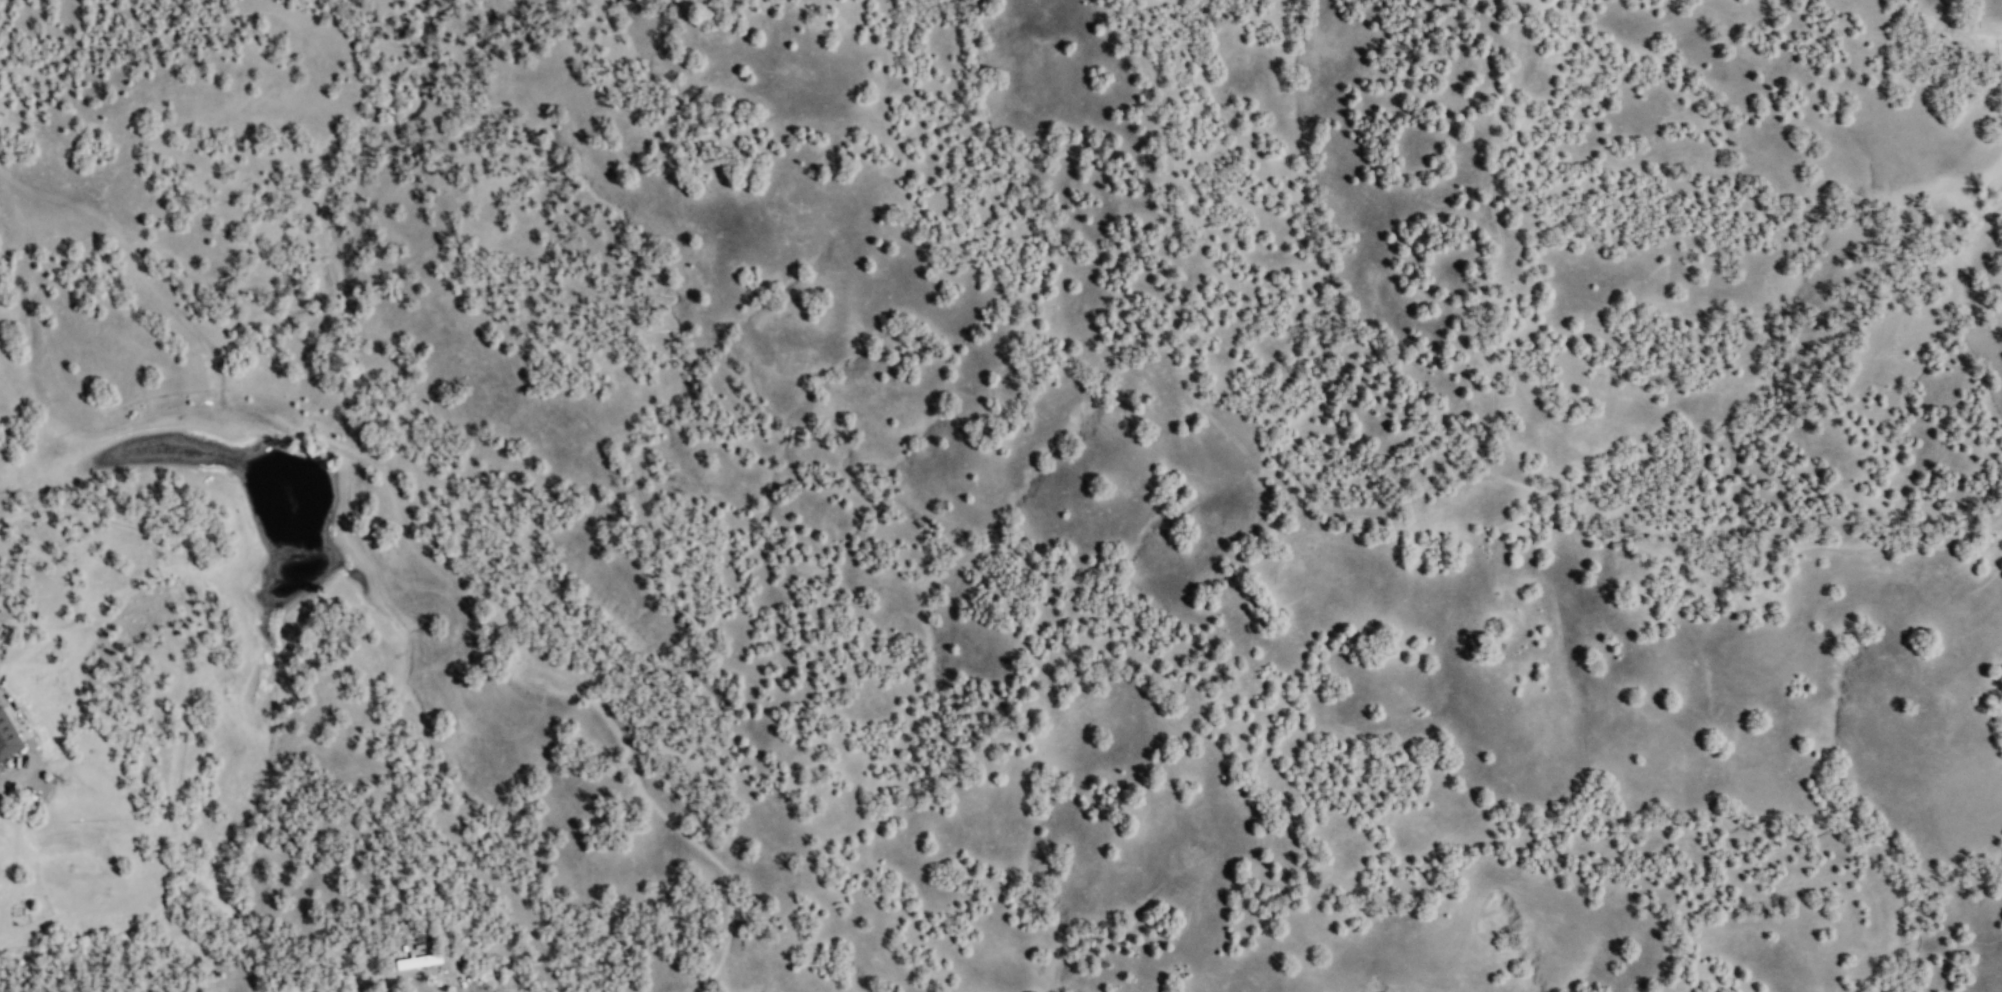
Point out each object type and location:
road: (183, 319)
road: (54, 357)
building: (7, 736)
building: (416, 961)

